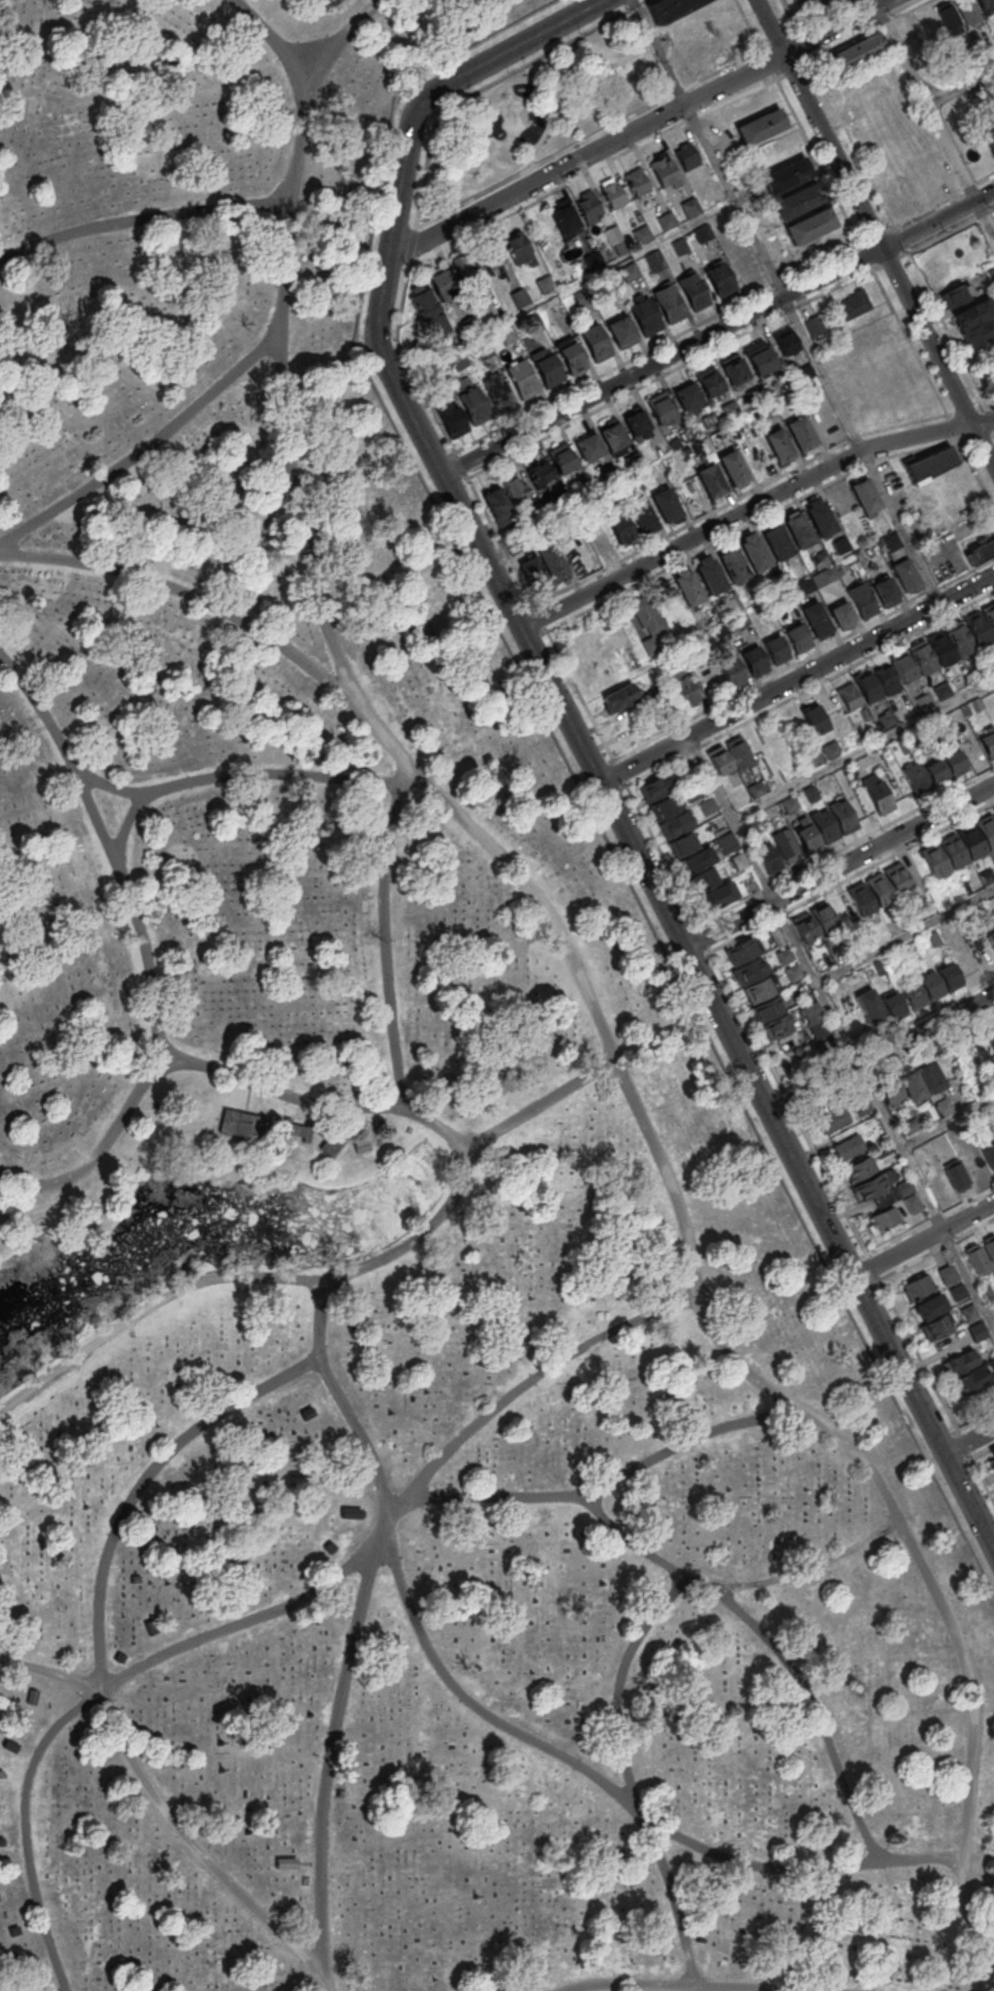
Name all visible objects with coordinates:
road: (876, 2)
building: (984, 3)
building: (667, 7)
building: (966, 10)
building: (946, 15)
road: (282, 50)
park: (630, 50)
road: (660, 52)
building: (851, 54)
road: (614, 63)
road: (550, 66)
road: (645, 77)
road: (961, 87)
road: (544, 88)
building: (973, 96)
park: (542, 110)
road: (548, 112)
road: (936, 120)
building: (761, 125)
road: (636, 129)
building: (989, 137)
building: (686, 155)
road: (479, 157)
road: (477, 159)
road: (523, 159)
road: (530, 160)
road: (438, 166)
building: (664, 169)
building: (787, 175)
road: (441, 180)
building: (637, 181)
building: (613, 195)
building: (799, 200)
building: (588, 205)
building: (690, 207)
road: (143, 216)
road: (937, 219)
building: (666, 220)
building: (565, 221)
building: (811, 225)
building: (702, 232)
road: (874, 234)
building: (642, 236)
building: (516, 246)
building: (680, 246)
building: (491, 257)
building: (593, 260)
building: (654, 260)
building: (746, 265)
building: (464, 267)
building: (990, 272)
building: (630, 273)
building: (719, 279)
building: (442, 284)
building: (545, 285)
building: (693, 291)
building: (957, 293)
building: (519, 297)
building: (580, 297)
building: (668, 303)
building: (854, 304)
building: (425, 309)
building: (973, 313)
building: (645, 316)
building: (532, 321)
building: (469, 322)
building: (814, 325)
building: (621, 331)
building: (978, 333)
building: (507, 335)
building: (785, 340)
building: (595, 342)
building: (483, 350)
building: (570, 354)
road: (811, 355)
building: (758, 356)
road: (661, 360)
building: (458, 361)
building: (547, 367)
building: (733, 370)
building: (804, 371)
building: (522, 378)
building: (709, 381)
building: (497, 392)
building: (754, 394)
building: (687, 396)
building: (473, 404)
building: (661, 407)
building: (729, 409)
building: (451, 417)
building: (636, 421)
building: (683, 433)
building: (800, 433)
building: (612, 434)
building: (778, 444)
building: (589, 447)
road: (148, 448)
building: (561, 457)
building: (632, 460)
building: (929, 463)
building: (732, 468)
building: (538, 472)
building: (609, 472)
building: (710, 479)
building: (634, 483)
building: (583, 484)
building: (514, 486)
building: (863, 494)
building: (559, 498)
building: (665, 505)
road: (752, 506)
building: (499, 507)
building: (642, 516)
building: (819, 517)
building: (619, 527)
building: (797, 529)
building: (598, 540)
building: (892, 541)
building: (776, 542)
building: (841, 544)
building: (513, 545)
building: (981, 549)
building: (753, 551)
building: (574, 552)
building: (819, 559)
building: (550, 561)
building: (731, 563)
building: (533, 572)
building: (905, 574)
building: (708, 575)
building: (824, 576)
building: (778, 579)
building: (806, 585)
building: (687, 586)
building: (886, 591)
road: (200, 599)
building: (861, 599)
building: (842, 614)
building: (989, 615)
building: (647, 616)
building: (816, 619)
building: (740, 620)
building: (977, 627)
building: (721, 633)
building: (798, 638)
building: (959, 638)
building: (650, 646)
building: (941, 648)
building: (776, 649)
building: (922, 657)
building: (753, 660)
building: (904, 668)
building: (731, 671)
road: (796, 678)
building: (887, 678)
building: (683, 686)
building: (868, 686)
building: (941, 690)
building: (618, 697)
building: (849, 697)
building: (924, 701)
building: (865, 715)
building: (814, 718)
building: (887, 718)
road: (579, 742)
building: (988, 743)
building: (903, 744)
building: (831, 749)
road: (862, 750)
building: (739, 751)
building: (810, 755)
building: (719, 760)
building: (954, 762)
road: (249, 772)
building: (936, 772)
building: (917, 778)
building: (656, 787)
building: (755, 789)
building: (692, 793)
building: (811, 793)
building: (879, 798)
building: (790, 803)
building: (707, 806)
building: (662, 808)
building: (842, 816)
building: (675, 824)
building: (751, 824)
road: (126, 826)
building: (824, 826)
building: (986, 830)
building: (807, 838)
building: (971, 841)
building: (683, 843)
building: (726, 843)
building: (785, 843)
building: (953, 851)
road: (113, 857)
building: (767, 857)
building: (695, 860)
building: (935, 860)
building: (737, 861)
road: (839, 865)
building: (986, 876)
building: (702, 879)
building: (898, 879)
building: (968, 887)
building: (879, 889)
building: (714, 896)
building: (861, 898)
building: (823, 917)
building: (804, 926)
road: (385, 933)
building: (776, 934)
road: (904, 935)
building: (991, 937)
building: (933, 938)
building: (740, 950)
building: (783, 954)
building: (878, 966)
building: (750, 969)
building: (793, 972)
building: (948, 976)
building: (930, 986)
road: (585, 989)
building: (757, 989)
building: (912, 996)
building: (893, 1006)
building: (766, 1008)
building: (871, 1008)
building: (816, 1020)
building: (776, 1027)
road: (840, 1032)
building: (992, 1032)
building: (983, 1045)
road: (881, 1053)
building: (928, 1075)
building: (910, 1084)
building: (889, 1089)
road: (247, 1097)
road: (543, 1101)
building: (862, 1105)
building: (943, 1107)
building: (834, 1119)
building: (242, 1124)
road: (947, 1124)
building: (910, 1125)
building: (293, 1129)
building: (330, 1143)
building: (941, 1145)
building: (358, 1146)
building: (848, 1147)
building: (884, 1150)
building: (989, 1155)
road: (466, 1159)
building: (973, 1164)
building: (860, 1168)
building: (956, 1174)
park: (387, 1180)
building: (938, 1184)
building: (870, 1186)
building: (904, 1187)
building: (912, 1203)
building: (91, 1210)
building: (885, 1218)
road: (923, 1240)
building: (990, 1246)
building: (976, 1257)
building: (947, 1273)
building: (917, 1286)
building: (957, 1291)
building: (987, 1293)
building: (930, 1306)
road: (990, 1311)
building: (968, 1312)
building: (935, 1327)
building: (977, 1331)
building: (960, 1363)
building: (991, 1363)
building: (973, 1378)
road: (341, 1396)
road: (969, 1441)
building: (992, 1452)
road: (604, 1486)
road: (280, 1609)
road: (776, 1649)
road: (98, 1652)
road: (50, 1673)
road: (621, 1744)
road: (557, 1753)
road: (329, 1759)
building: (285, 1863)
road: (691, 1984)

